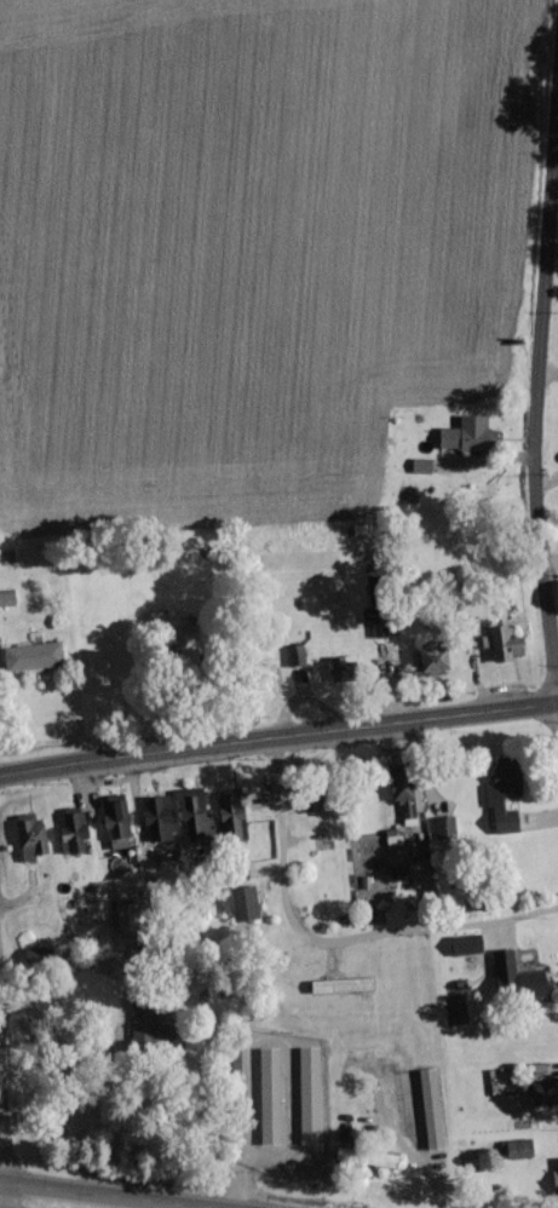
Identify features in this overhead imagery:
road: (550, 372)
road: (540, 407)
building: (466, 432)
building: (420, 464)
road: (550, 557)
building: (6, 597)
building: (501, 642)
building: (31, 654)
building: (294, 654)
building: (428, 657)
road: (277, 732)
building: (401, 792)
building: (502, 793)
road: (454, 807)
building: (191, 810)
building: (230, 811)
building: (113, 815)
building: (153, 821)
building: (443, 824)
building: (71, 829)
building: (29, 834)
building: (240, 902)
road: (327, 936)
building: (465, 942)
building: (36, 953)
building: (514, 976)
building: (340, 983)
building: (149, 1028)
building: (309, 1093)
building: (268, 1094)
building: (430, 1106)
road: (405, 1141)
building: (514, 1146)
road: (0, 1179)
building: (554, 1179)
road: (97, 1193)

